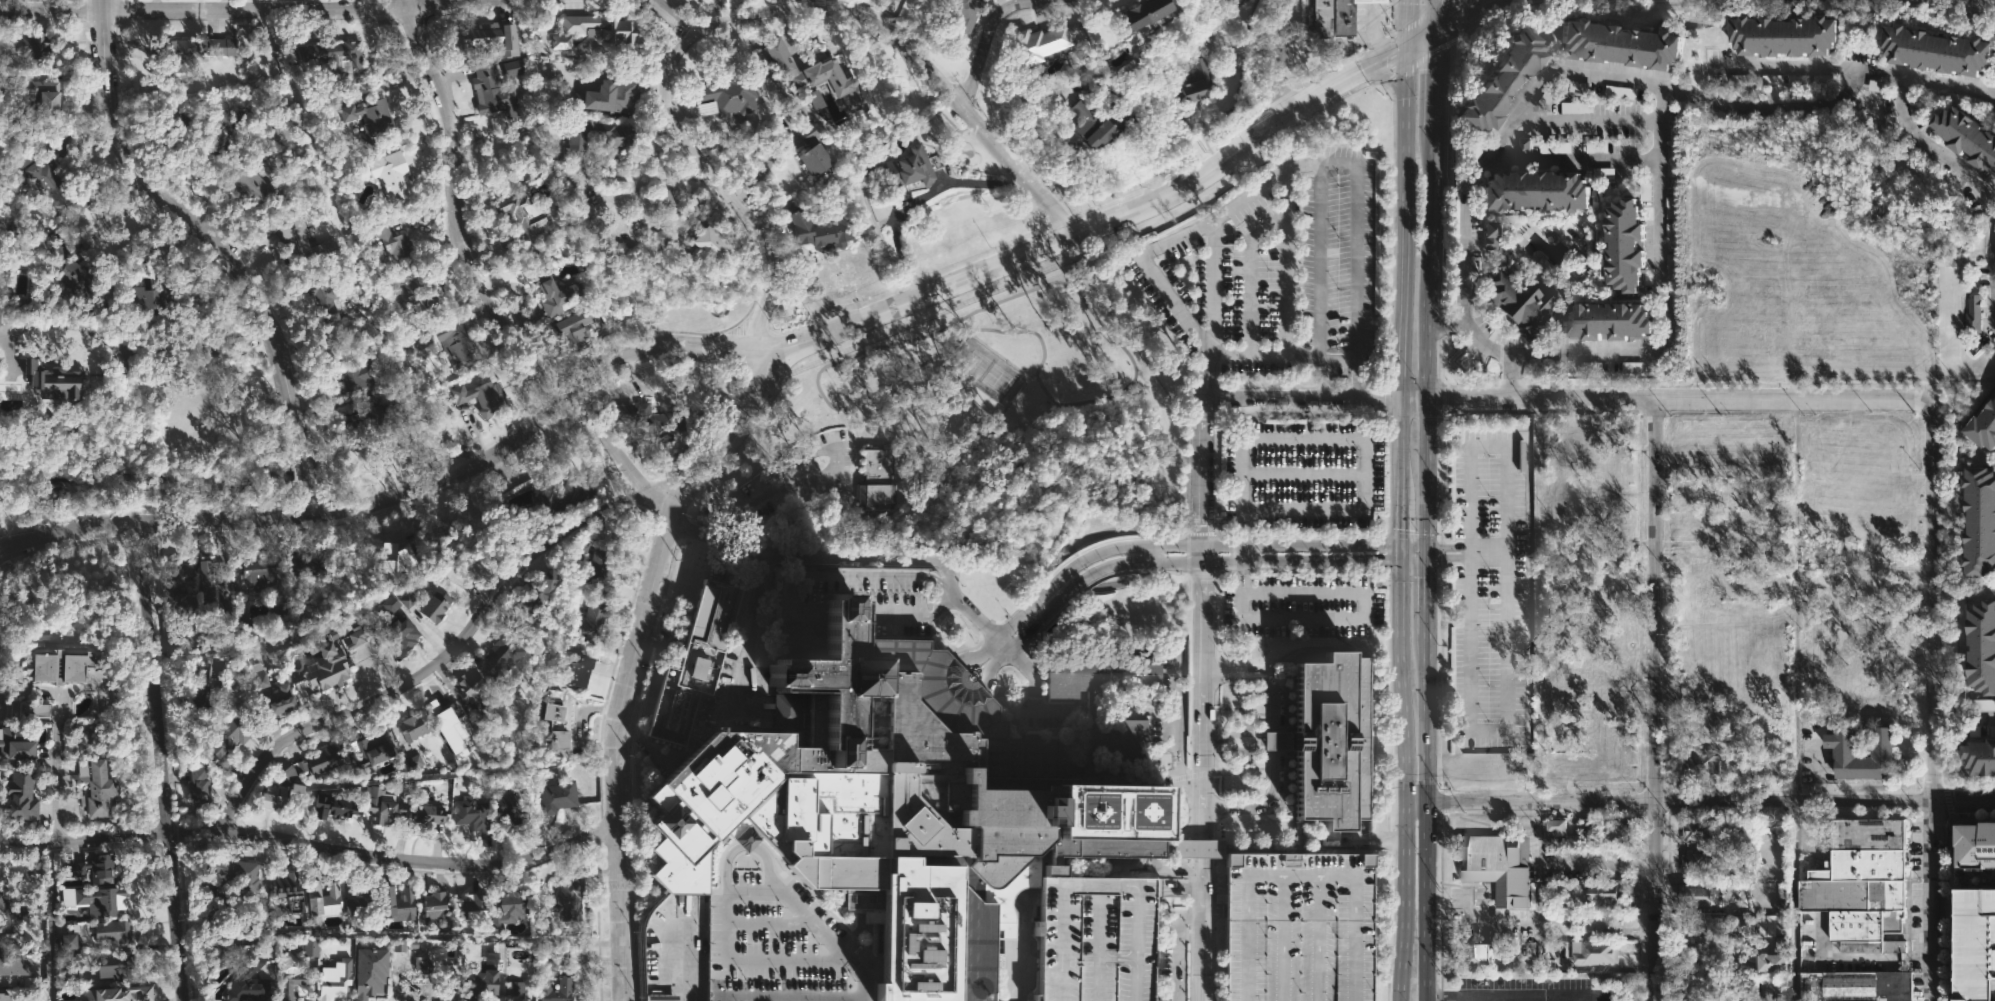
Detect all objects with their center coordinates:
road: (808, 4)
road: (259, 5)
road: (258, 11)
building: (1139, 12)
building: (962, 13)
road: (1434, 13)
road: (1461, 13)
building: (1345, 16)
road: (667, 17)
road: (746, 17)
building: (1321, 19)
road: (1405, 23)
traffic signals: (1434, 27)
building: (614, 28)
road: (1373, 34)
road: (1419, 36)
building: (489, 38)
building: (1785, 38)
road: (987, 39)
building: (561, 42)
building: (1038, 43)
building: (33, 45)
building: (1619, 45)
building: (218, 46)
traffic signals: (1404, 46)
building: (1941, 49)
building: (171, 54)
building: (331, 57)
building: (1073, 59)
road: (1281, 60)
building: (1127, 68)
road: (1855, 70)
building: (812, 71)
road: (1382, 74)
road: (1432, 75)
building: (0, 76)
building: (1822, 79)
building: (1797, 80)
building: (1197, 81)
road: (1391, 85)
building: (1501, 86)
building: (1580, 87)
building: (494, 89)
building: (1620, 92)
building: (38, 93)
building: (609, 95)
building: (725, 95)
road: (956, 98)
road: (1022, 99)
building: (569, 100)
road: (1708, 101)
building: (369, 116)
road: (1587, 116)
building: (1099, 121)
building: (278, 125)
building: (215, 132)
building: (599, 133)
building: (1970, 133)
building: (1525, 145)
building: (1556, 147)
building: (811, 148)
road: (1572, 159)
road: (1324, 162)
building: (907, 167)
building: (390, 175)
road: (648, 179)
road: (1466, 184)
building: (51, 185)
building: (254, 185)
road: (724, 190)
road: (1978, 192)
building: (1533, 195)
road: (914, 197)
building: (664, 199)
building: (522, 214)
road: (113, 220)
road: (1102, 223)
building: (820, 230)
building: (660, 237)
building: (1488, 237)
building: (298, 239)
building: (391, 240)
building: (1628, 241)
road: (217, 242)
building: (711, 242)
road: (1286, 261)
building: (1577, 263)
road: (466, 274)
building: (74, 275)
road: (1400, 275)
road: (797, 281)
road: (1215, 286)
road: (1994, 290)
building: (554, 291)
road: (1663, 293)
building: (418, 294)
building: (144, 299)
building: (321, 301)
building: (1523, 302)
building: (2, 312)
building: (1974, 314)
building: (1608, 319)
road: (1444, 327)
building: (571, 328)
road: (1426, 335)
building: (453, 343)
road: (1481, 350)
road: (132, 352)
park: (979, 366)
building: (1633, 367)
building: (358, 373)
road: (1513, 379)
building: (58, 383)
building: (479, 396)
road: (1301, 396)
road: (1413, 398)
road: (1679, 404)
building: (375, 419)
building: (644, 419)
building: (1985, 427)
road: (1345, 441)
road: (1488, 444)
road: (837, 453)
parking lot: (1302, 474)
building: (878, 481)
building: (1702, 492)
building: (555, 494)
road: (409, 496)
road: (746, 509)
building: (1983, 521)
road: (1398, 525)
road: (1180, 546)
traffic signals: (1398, 546)
road: (1412, 546)
traffic signals: (1426, 546)
road: (1449, 546)
road: (1398, 553)
road: (1426, 553)
road: (1488, 553)
road: (1146, 554)
building: (1706, 555)
road: (913, 557)
road: (1449, 559)
building: (395, 560)
building: (600, 560)
traffic signals: (1398, 560)
road: (1412, 560)
traffic signals: (1426, 560)
road: (1186, 562)
building: (309, 566)
building: (256, 574)
building: (202, 575)
building: (172, 582)
building: (1708, 582)
parking lot: (1489, 588)
road: (1426, 595)
building: (534, 599)
building: (406, 600)
road: (1934, 603)
building: (390, 604)
road: (1795, 604)
parking lot: (1303, 606)
building: (280, 608)
building: (434, 608)
road: (919, 617)
road: (1339, 618)
building: (593, 619)
building: (524, 622)
road: (749, 626)
building: (399, 637)
building: (1985, 649)
road: (443, 654)
building: (498, 657)
road: (637, 659)
building: (694, 662)
building: (331, 664)
building: (55, 666)
building: (578, 671)
road: (655, 673)
road: (1260, 676)
building: (254, 677)
building: (200, 684)
building: (469, 690)
road: (1202, 697)
building: (276, 701)
road: (1652, 703)
building: (1981, 704)
building: (21, 708)
building: (447, 721)
building: (553, 721)
building: (411, 726)
road: (1487, 731)
building: (1992, 731)
road: (1176, 732)
building: (228, 737)
building: (13, 740)
road: (1275, 740)
building: (373, 750)
building: (1848, 752)
building: (1319, 753)
building: (1982, 758)
road: (163, 760)
building: (320, 761)
building: (414, 761)
building: (1704, 764)
building: (1604, 765)
building: (1554, 767)
road: (1818, 769)
building: (289, 773)
road: (1404, 780)
road: (56, 783)
building: (198, 784)
building: (95, 791)
building: (557, 794)
building: (278, 798)
building: (914, 798)
building: (16, 800)
building: (381, 804)
building: (331, 805)
building: (501, 805)
road: (1260, 805)
road: (1965, 805)
road: (1669, 806)
building: (426, 814)
helipad: (1092, 814)
building: (470, 815)
helipad: (1143, 815)
road: (1425, 815)
building: (1557, 828)
building: (1700, 828)
building: (1616, 833)
building: (1979, 841)
road: (312, 851)
building: (1699, 860)
building: (1499, 866)
building: (12, 869)
building: (90, 869)
building: (229, 870)
road: (1214, 879)
building: (285, 884)
building: (1864, 888)
road: (1181, 889)
road: (1214, 889)
building: (1603, 893)
building: (1699, 896)
building: (569, 897)
building: (2, 898)
building: (321, 900)
building: (94, 901)
building: (294, 902)
road: (1793, 903)
road: (1936, 903)
building: (434, 904)
building: (503, 904)
building: (358, 906)
building: (399, 906)
building: (471, 907)
building: (214, 908)
road: (1214, 912)
building: (285, 920)
road: (1539, 920)
road: (48, 923)
building: (4, 927)
building: (1299, 927)
parking garage: (1299, 927)
building: (1608, 927)
building: (1718, 927)
building: (110, 932)
building: (1778, 935)
building: (1096, 938)
parking garage: (1096, 938)
building: (68, 941)
building: (1977, 944)
building: (310, 947)
road: (1178, 947)
building: (1597, 951)
building: (221, 952)
building: (1482, 953)
building: (1775, 957)
road: (768, 961)
road: (680, 962)
building: (114, 964)
road: (1470, 967)
building: (548, 971)
road: (864, 972)
building: (3, 973)
building: (411, 976)
building: (335, 978)
building: (291, 981)
building: (247, 983)
building: (370, 983)
building: (481, 983)
building: (1752, 986)
building: (1859, 987)
building: (516, 988)
building: (116, 994)
building: (3, 996)
road: (789, 997)
building: (1033, 997)
road: (1473, 1000)
road: (1505, 1000)

